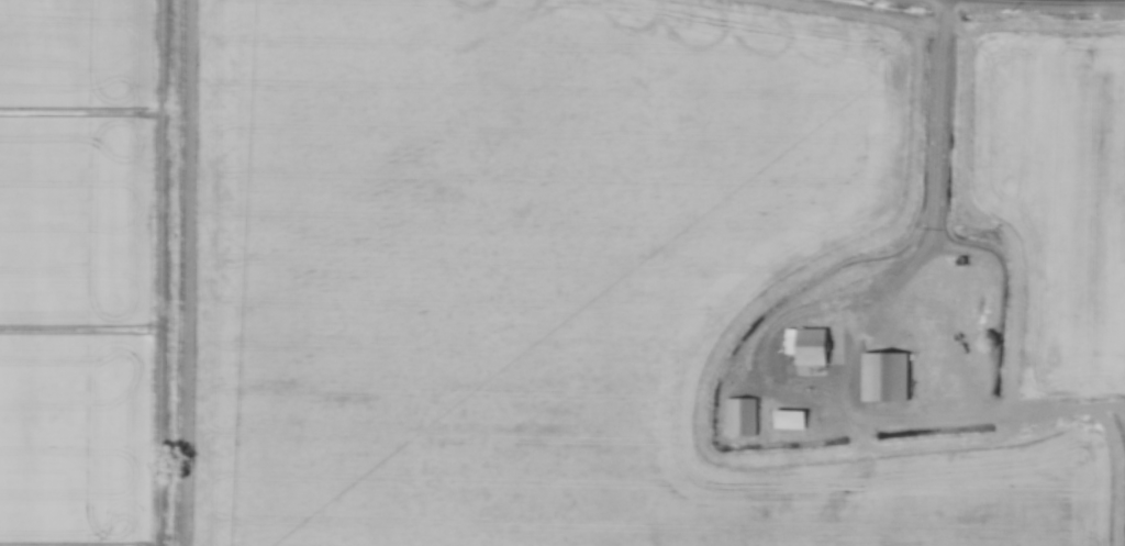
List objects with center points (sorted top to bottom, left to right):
road: (1037, 1)
road: (933, 222)
crop: (76, 274)
building: (810, 346)
building: (888, 378)
building: (743, 417)
building: (791, 420)

